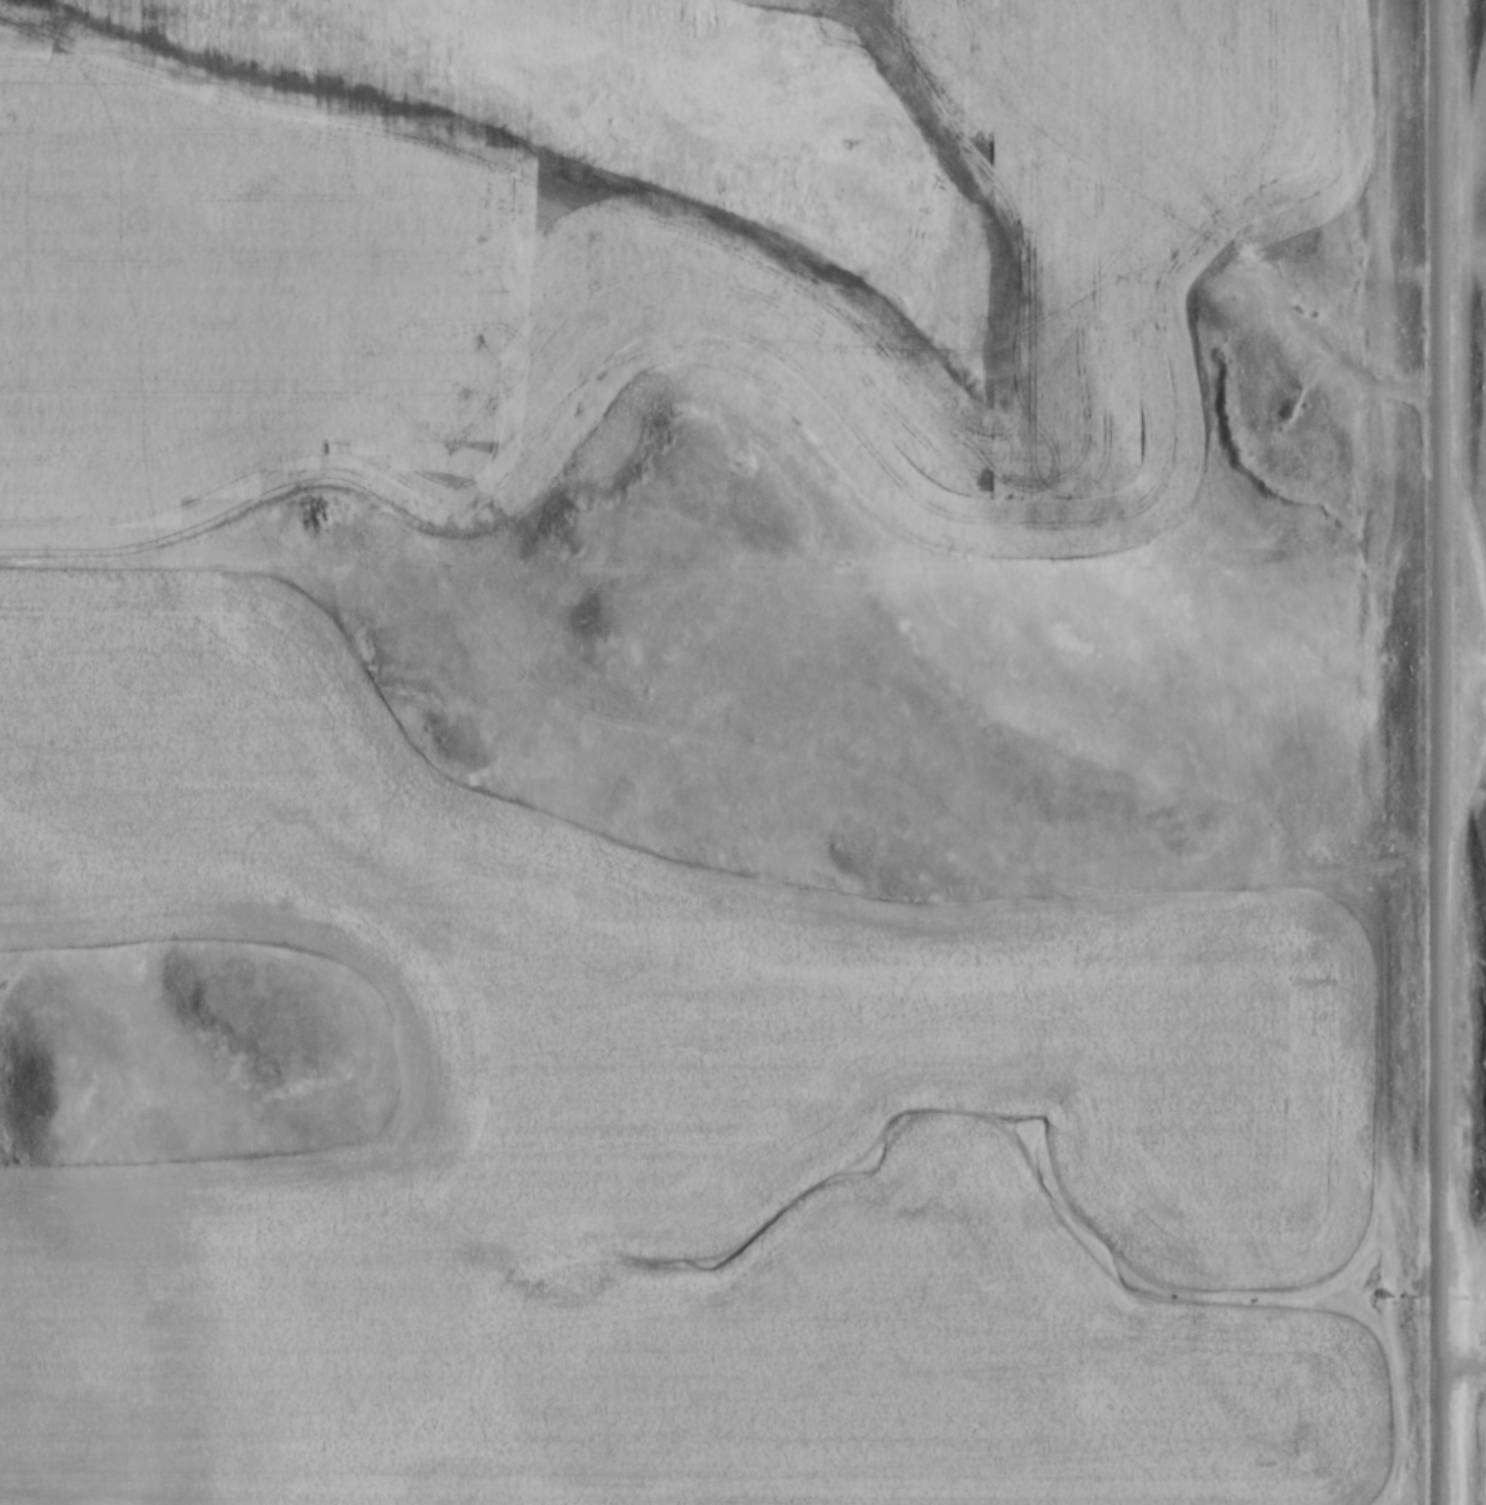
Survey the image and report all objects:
road: (1441, 752)
road: (1462, 1363)

